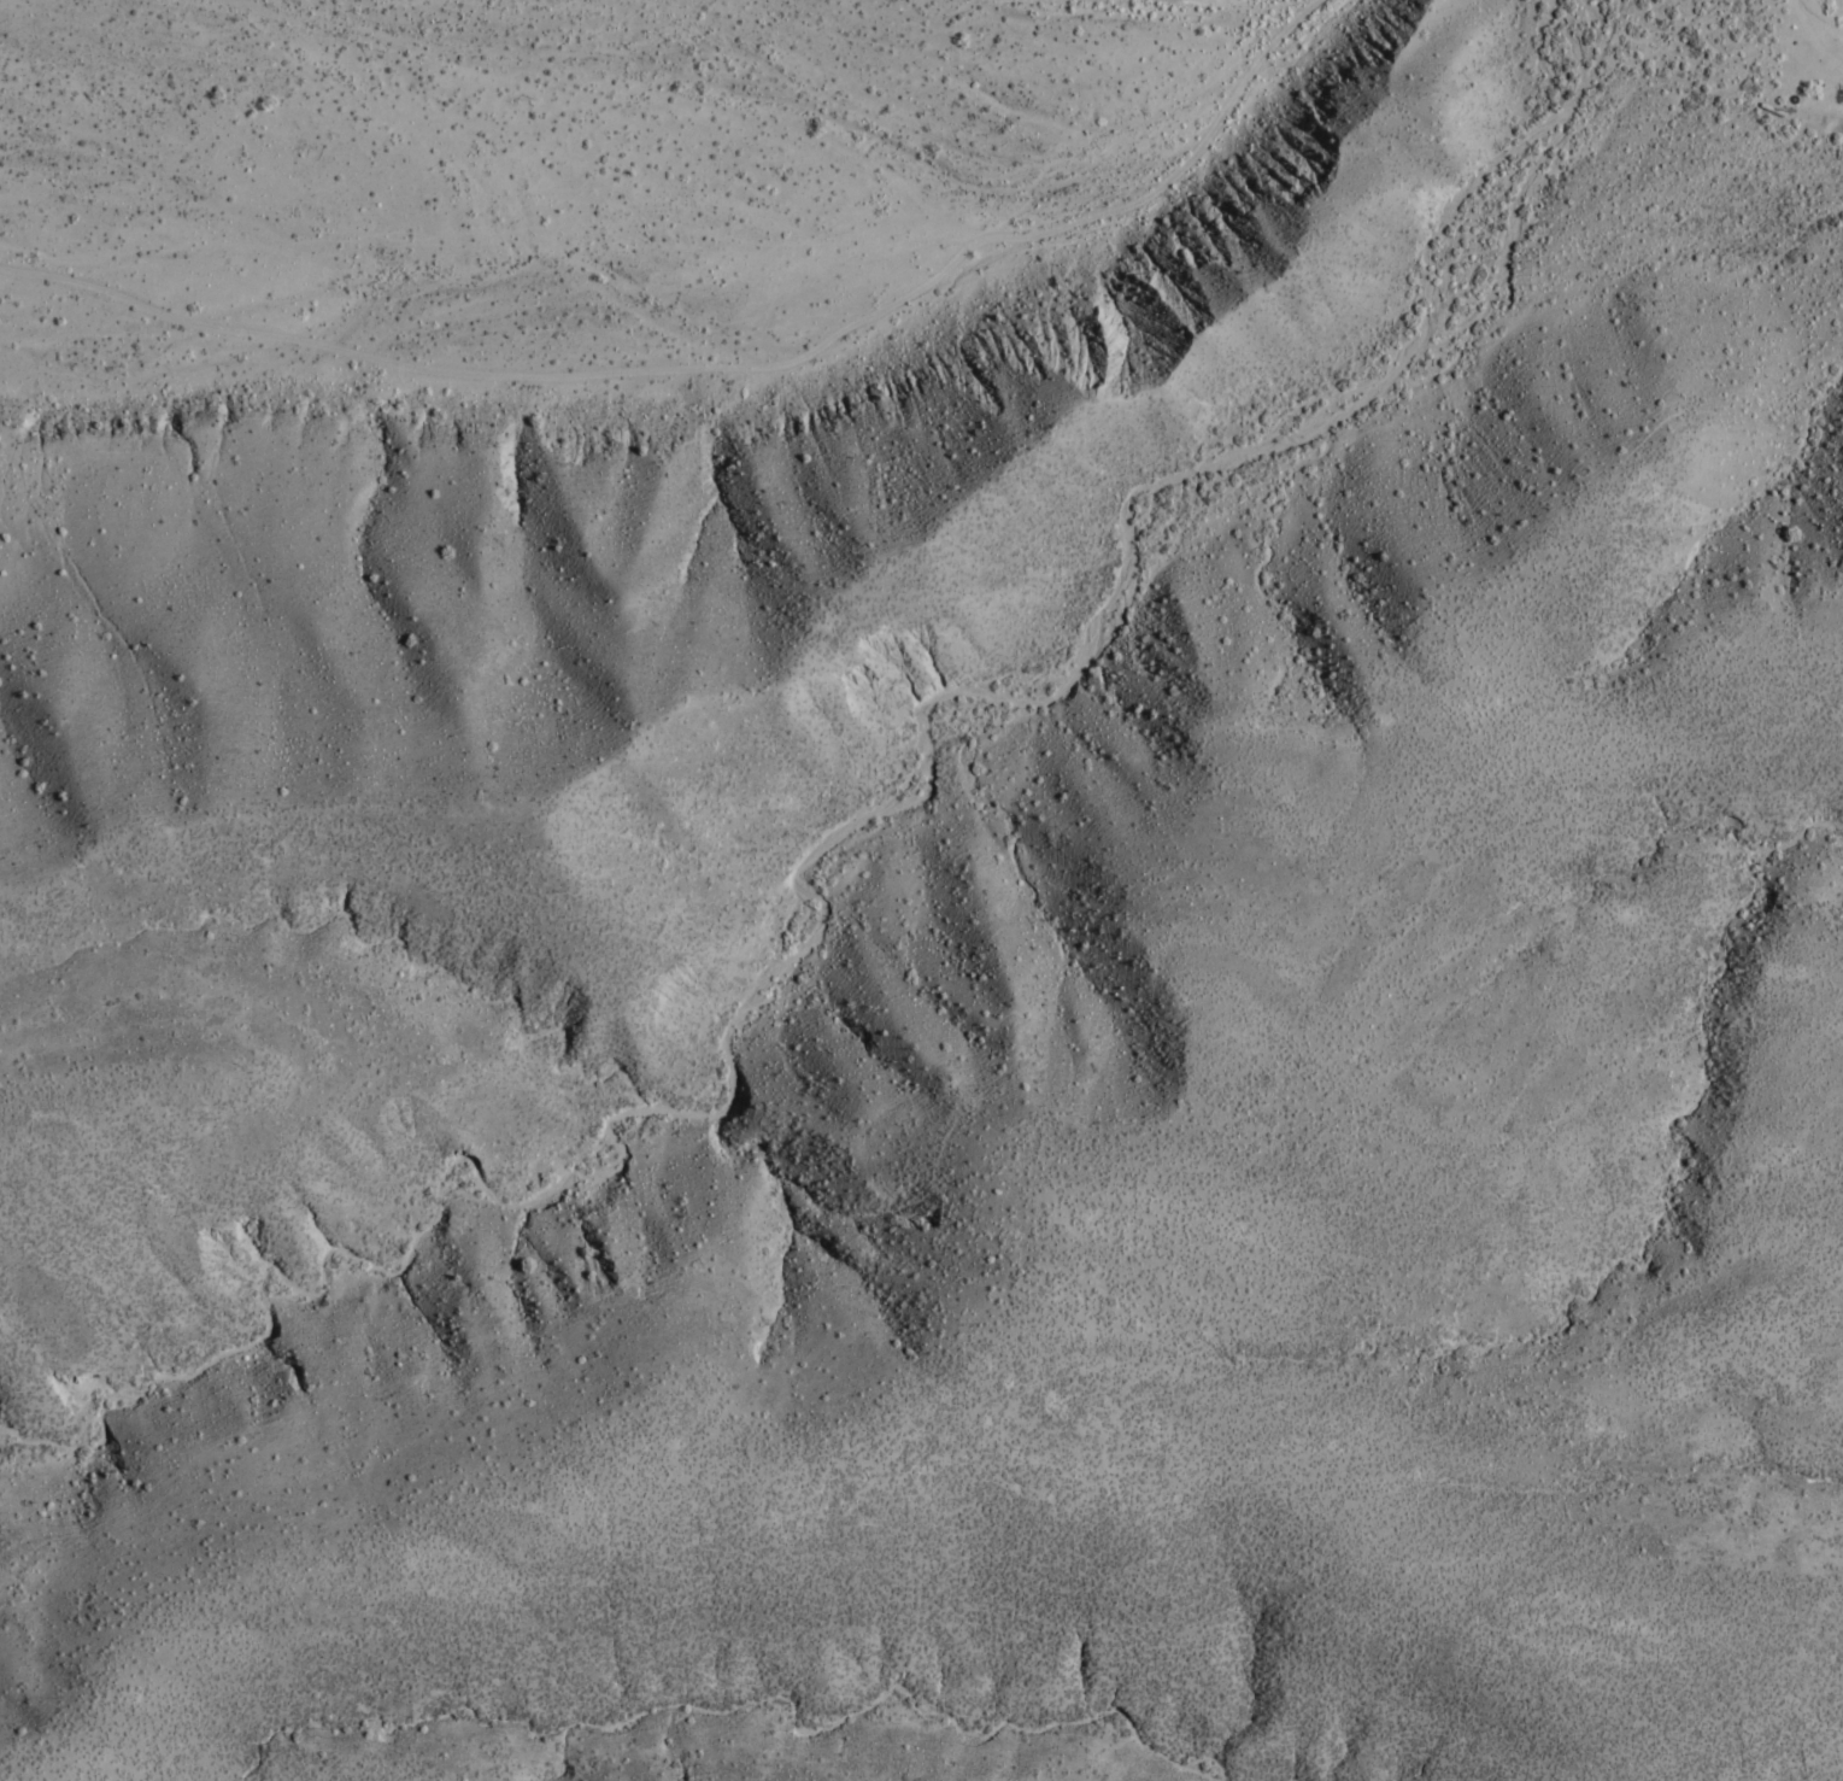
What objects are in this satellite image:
road: (1813, 40)
road: (721, 370)

